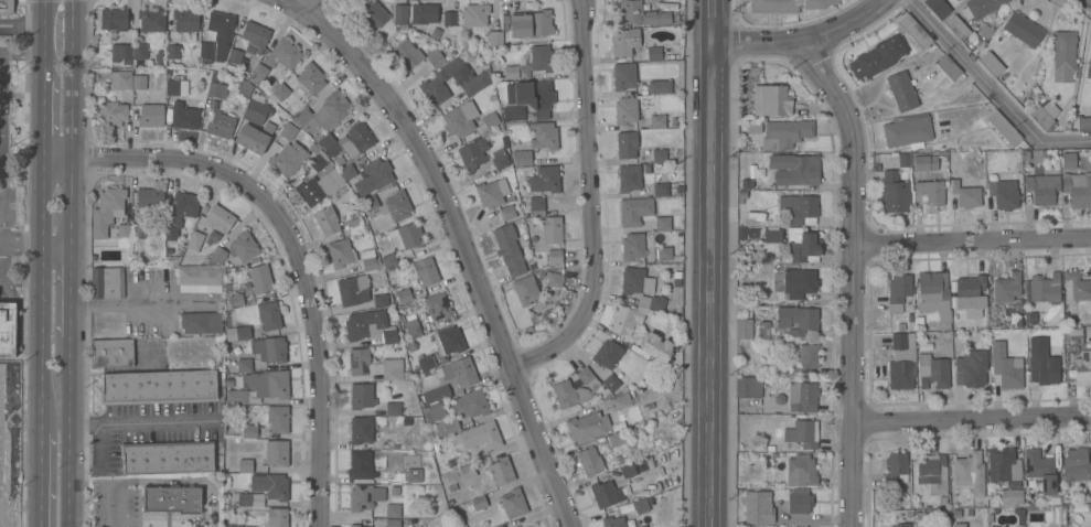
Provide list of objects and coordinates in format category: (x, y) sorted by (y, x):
building: (817, 3)
road: (298, 4)
building: (773, 6)
building: (7, 7)
building: (938, 8)
building: (978, 8)
building: (400, 11)
building: (641, 13)
building: (373, 14)
building: (474, 14)
building: (426, 15)
building: (114, 18)
building: (449, 18)
building: (151, 19)
road: (710, 21)
building: (186, 23)
building: (532, 23)
road: (24, 25)
building: (958, 28)
building: (912, 30)
building: (1023, 30)
building: (215, 35)
building: (495, 37)
road: (45, 40)
road: (800, 40)
building: (624, 41)
building: (247, 42)
building: (173, 51)
road: (21, 52)
building: (121, 52)
building: (141, 53)
building: (653, 53)
building: (282, 54)
building: (407, 54)
building: (880, 55)
building: (1063, 55)
building: (435, 57)
building: (542, 58)
building: (992, 64)
building: (1089, 66)
building: (949, 67)
building: (511, 72)
building: (258, 73)
building: (623, 76)
building: (117, 78)
building: (311, 78)
building: (435, 80)
building: (139, 82)
building: (475, 84)
building: (216, 86)
building: (172, 87)
building: (244, 87)
building: (660, 87)
road: (992, 88)
building: (903, 90)
building: (279, 92)
road: (23, 95)
building: (535, 96)
building: (770, 99)
building: (256, 109)
building: (625, 110)
building: (111, 112)
building: (324, 112)
building: (513, 112)
building: (150, 115)
building: (1045, 115)
building: (1090, 115)
building: (182, 116)
building: (468, 119)
road: (43, 120)
building: (657, 120)
building: (1083, 122)
road: (2, 125)
building: (221, 125)
building: (1003, 128)
building: (908, 130)
building: (288, 131)
building: (785, 133)
building: (544, 135)
building: (254, 137)
building: (347, 140)
building: (627, 144)
building: (473, 153)
building: (659, 155)
building: (526, 157)
building: (1009, 157)
building: (288, 158)
building: (499, 158)
building: (318, 160)
building: (1068, 160)
building: (930, 162)
building: (794, 169)
building: (347, 171)
building: (374, 175)
building: (629, 178)
road: (74, 179)
building: (545, 179)
building: (963, 182)
building: (317, 187)
building: (660, 189)
building: (1042, 189)
building: (1078, 190)
building: (492, 192)
building: (929, 192)
building: (1002, 192)
building: (895, 193)
building: (150, 197)
building: (370, 202)
road: (592, 203)
building: (396, 206)
building: (537, 206)
building: (800, 208)
building: (107, 211)
building: (634, 211)
building: (181, 212)
building: (506, 212)
building: (218, 218)
building: (327, 221)
building: (354, 224)
building: (663, 224)
building: (550, 229)
building: (138, 232)
building: (122, 235)
building: (771, 235)
building: (406, 236)
road: (972, 239)
building: (194, 240)
road: (21, 241)
road: (295, 243)
building: (802, 245)
building: (243, 246)
building: (633, 246)
road: (467, 248)
building: (509, 249)
building: (341, 252)
building: (664, 254)
building: (215, 256)
building: (555, 256)
building: (370, 259)
building: (174, 260)
building: (389, 260)
building: (424, 272)
road: (853, 277)
building: (201, 278)
building: (260, 278)
building: (555, 279)
building: (108, 282)
building: (799, 282)
road: (710, 284)
road: (42, 286)
building: (1076, 286)
building: (642, 287)
building: (1007, 287)
building: (899, 288)
building: (353, 290)
building: (525, 290)
building: (970, 292)
building: (1040, 293)
building: (404, 294)
building: (934, 297)
road: (62, 300)
building: (235, 300)
building: (381, 300)
road: (135, 304)
building: (437, 305)
building: (269, 315)
building: (799, 319)
building: (625, 320)
building: (201, 322)
building: (368, 325)
building: (411, 327)
building: (7, 329)
building: (744, 329)
building: (763, 330)
building: (243, 332)
building: (1088, 333)
building: (1074, 336)
building: (449, 340)
building: (656, 346)
building: (113, 352)
building: (265, 352)
building: (608, 353)
building: (806, 357)
building: (901, 361)
building: (425, 362)
building: (374, 365)
building: (1006, 367)
building: (971, 368)
building: (1082, 368)
building: (1044, 369)
building: (460, 370)
building: (932, 370)
building: (588, 379)
building: (611, 383)
building: (268, 384)
building: (159, 387)
building: (748, 387)
building: (569, 394)
building: (362, 395)
building: (437, 395)
building: (802, 396)
building: (236, 397)
building: (621, 400)
building: (471, 402)
building: (393, 408)
building: (435, 411)
road: (971, 418)
building: (278, 419)
road: (142, 421)
building: (448, 427)
building: (587, 427)
building: (361, 429)
building: (249, 431)
building: (803, 433)
building: (621, 435)
building: (478, 437)
road: (67, 442)
road: (101, 445)
building: (277, 452)
building: (168, 456)
building: (590, 461)
building: (363, 464)
building: (1003, 464)
building: (1077, 464)
building: (245, 465)
building: (896, 467)
building: (802, 469)
building: (1040, 469)
road: (41, 470)
road: (46, 470)
building: (628, 470)
building: (468, 471)
building: (501, 471)
building: (932, 471)
building: (970, 472)
building: (414, 475)
road: (186, 481)
building: (270, 485)
building: (607, 493)
building: (367, 495)
building: (1010, 497)
building: (247, 498)
building: (171, 499)
building: (479, 502)
parking lot: (118, 503)
building: (513, 503)
building: (645, 504)
road: (117, 506)
building: (767, 507)
building: (801, 507)
building: (393, 509)
building: (277, 517)
building: (613, 521)
building: (393, 523)
building: (959, 524)
building: (233, 525)
building: (354, 525)
building: (902, 525)
building: (359, 526)
building: (500, 526)
building: (531, 526)
building: (642, 526)
building: (976, 526)
building: (994, 526)

